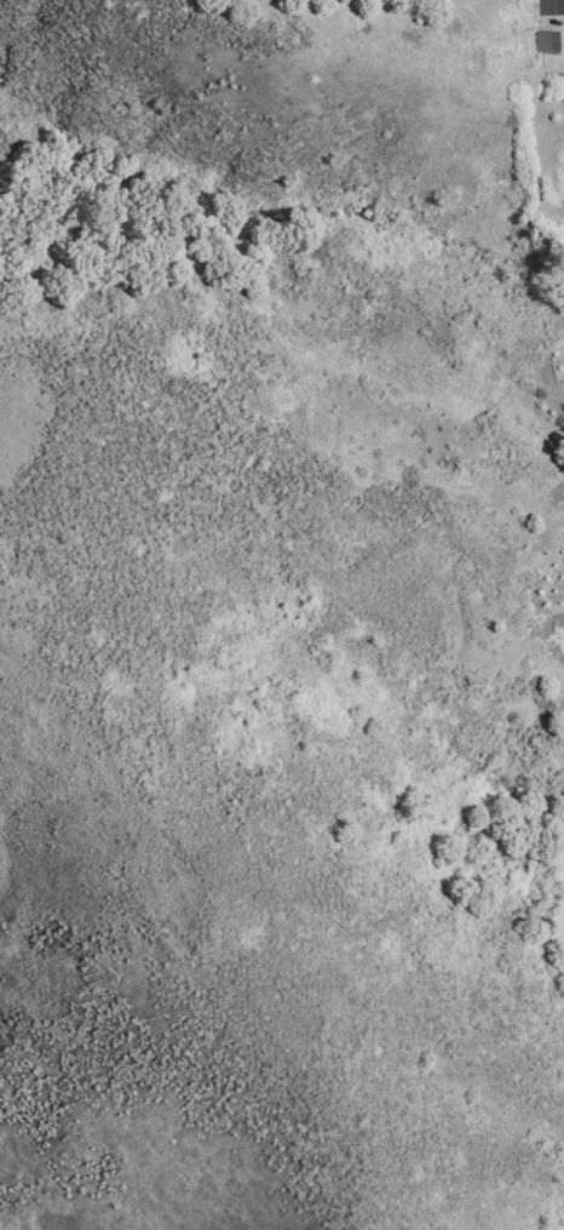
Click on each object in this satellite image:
building: (551, 8)
building: (547, 40)
building: (556, 436)
storage tank: (556, 436)

